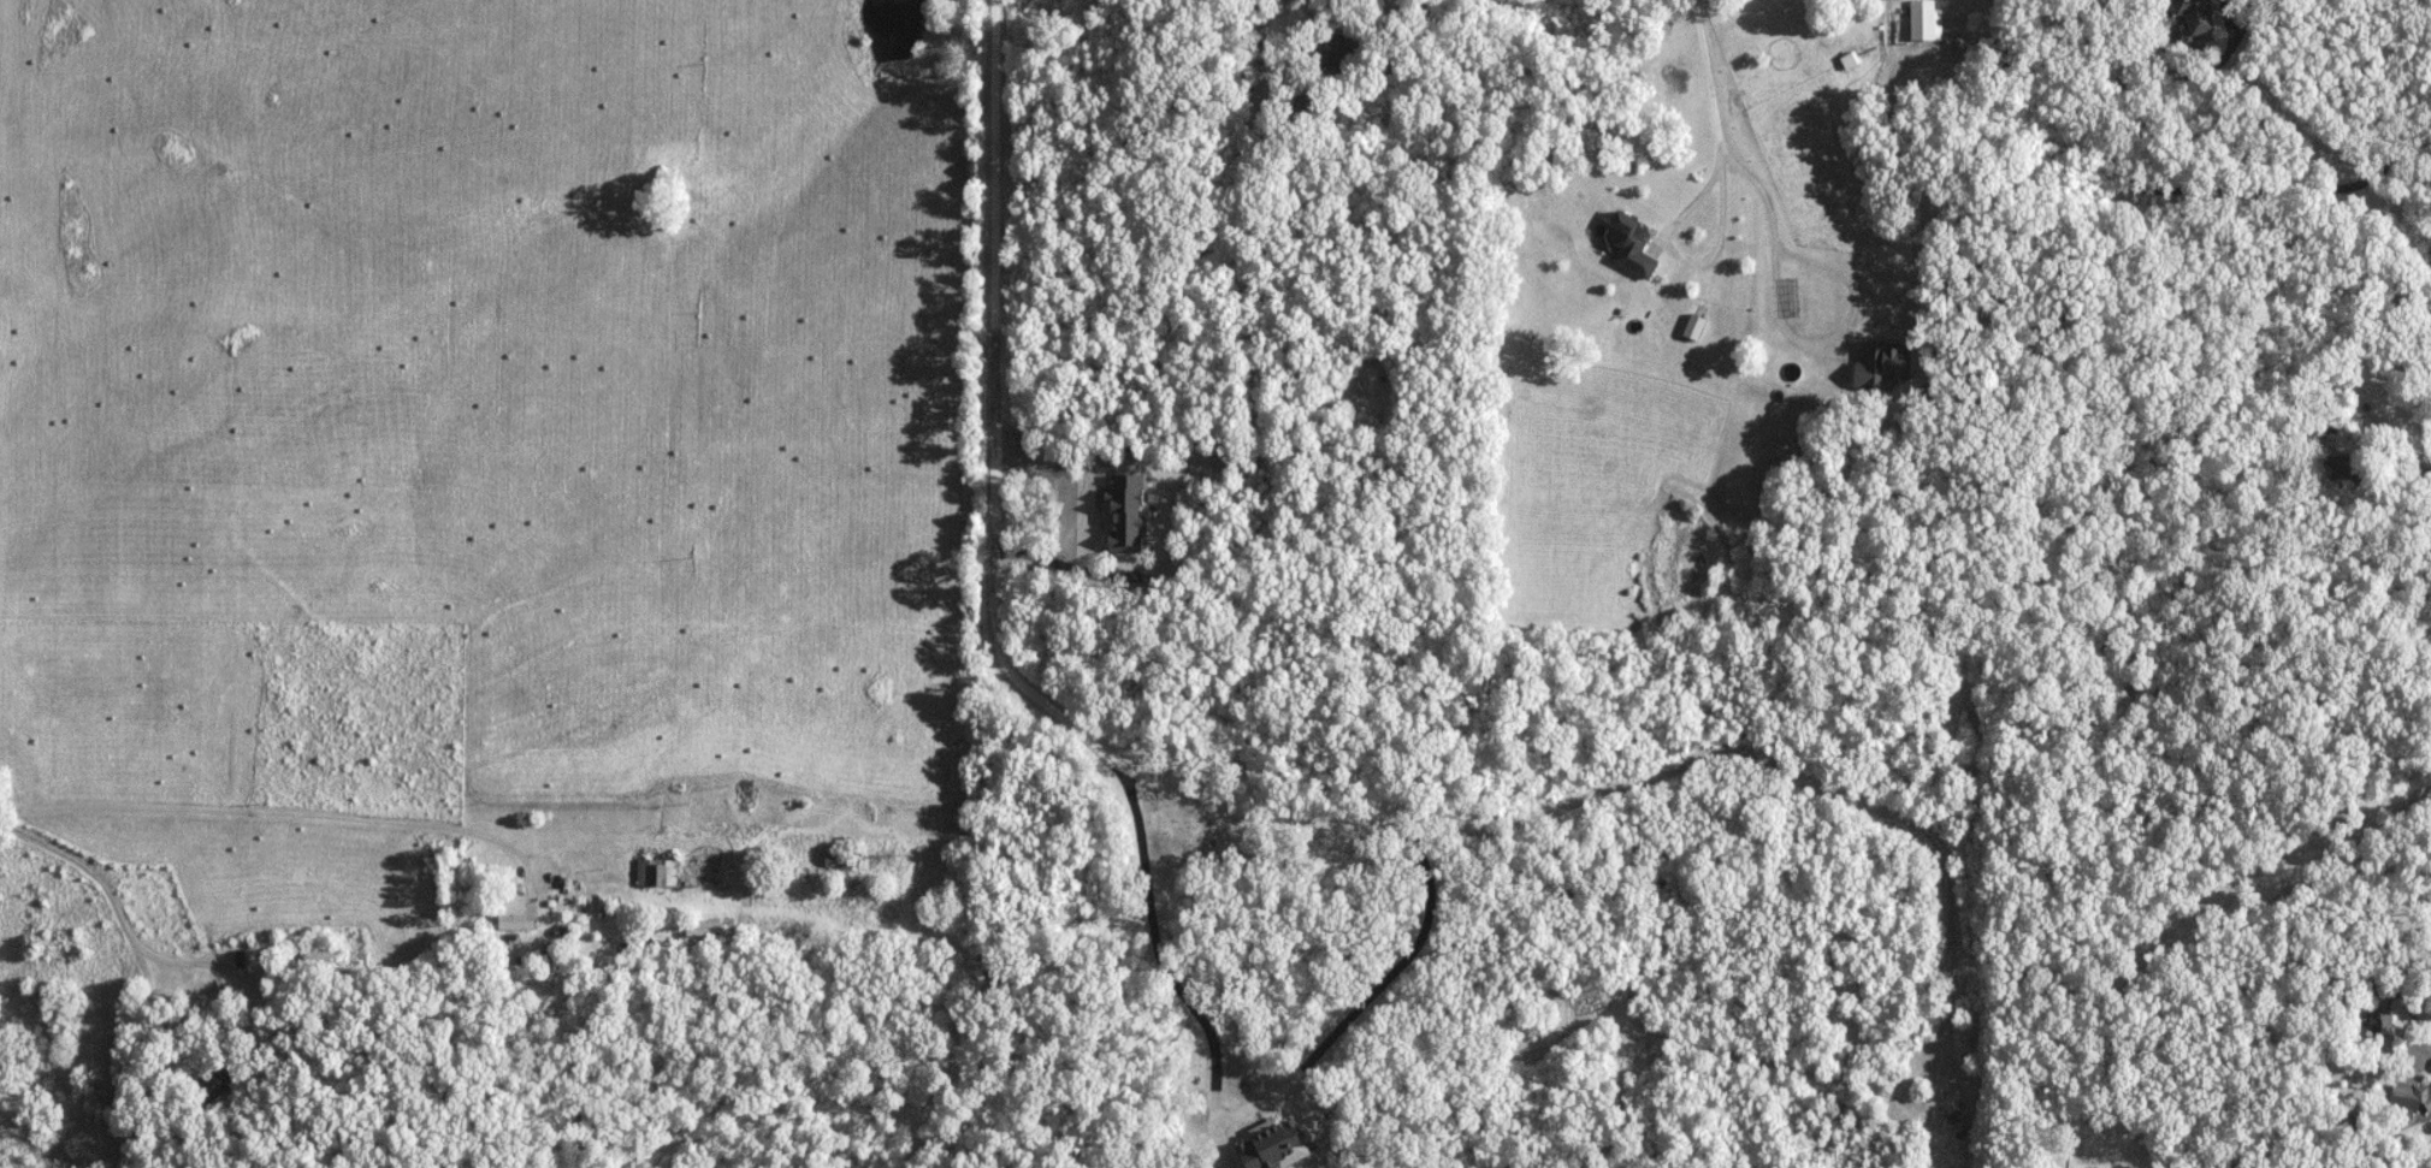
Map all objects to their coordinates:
building: (2193, 13)
building: (1923, 20)
building: (1335, 53)
road: (1715, 132)
road: (2216, 188)
road: (1266, 211)
road: (1773, 260)
road: (2361, 350)
building: (2335, 463)
road: (295, 823)
road: (1265, 829)
building: (838, 860)
road: (88, 864)
building: (658, 873)
building: (516, 913)
building: (703, 927)
building: (321, 954)
road: (2405, 1008)
building: (2380, 1024)
road: (232, 1030)
building: (218, 1079)
building: (2411, 1097)
road: (1218, 1115)

